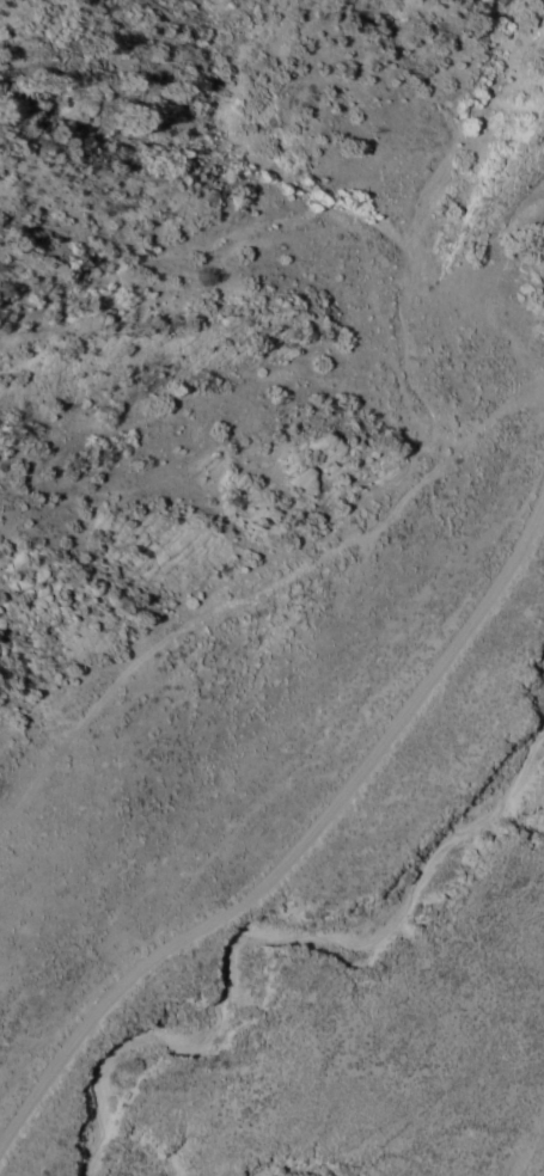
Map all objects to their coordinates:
road: (310, 784)

